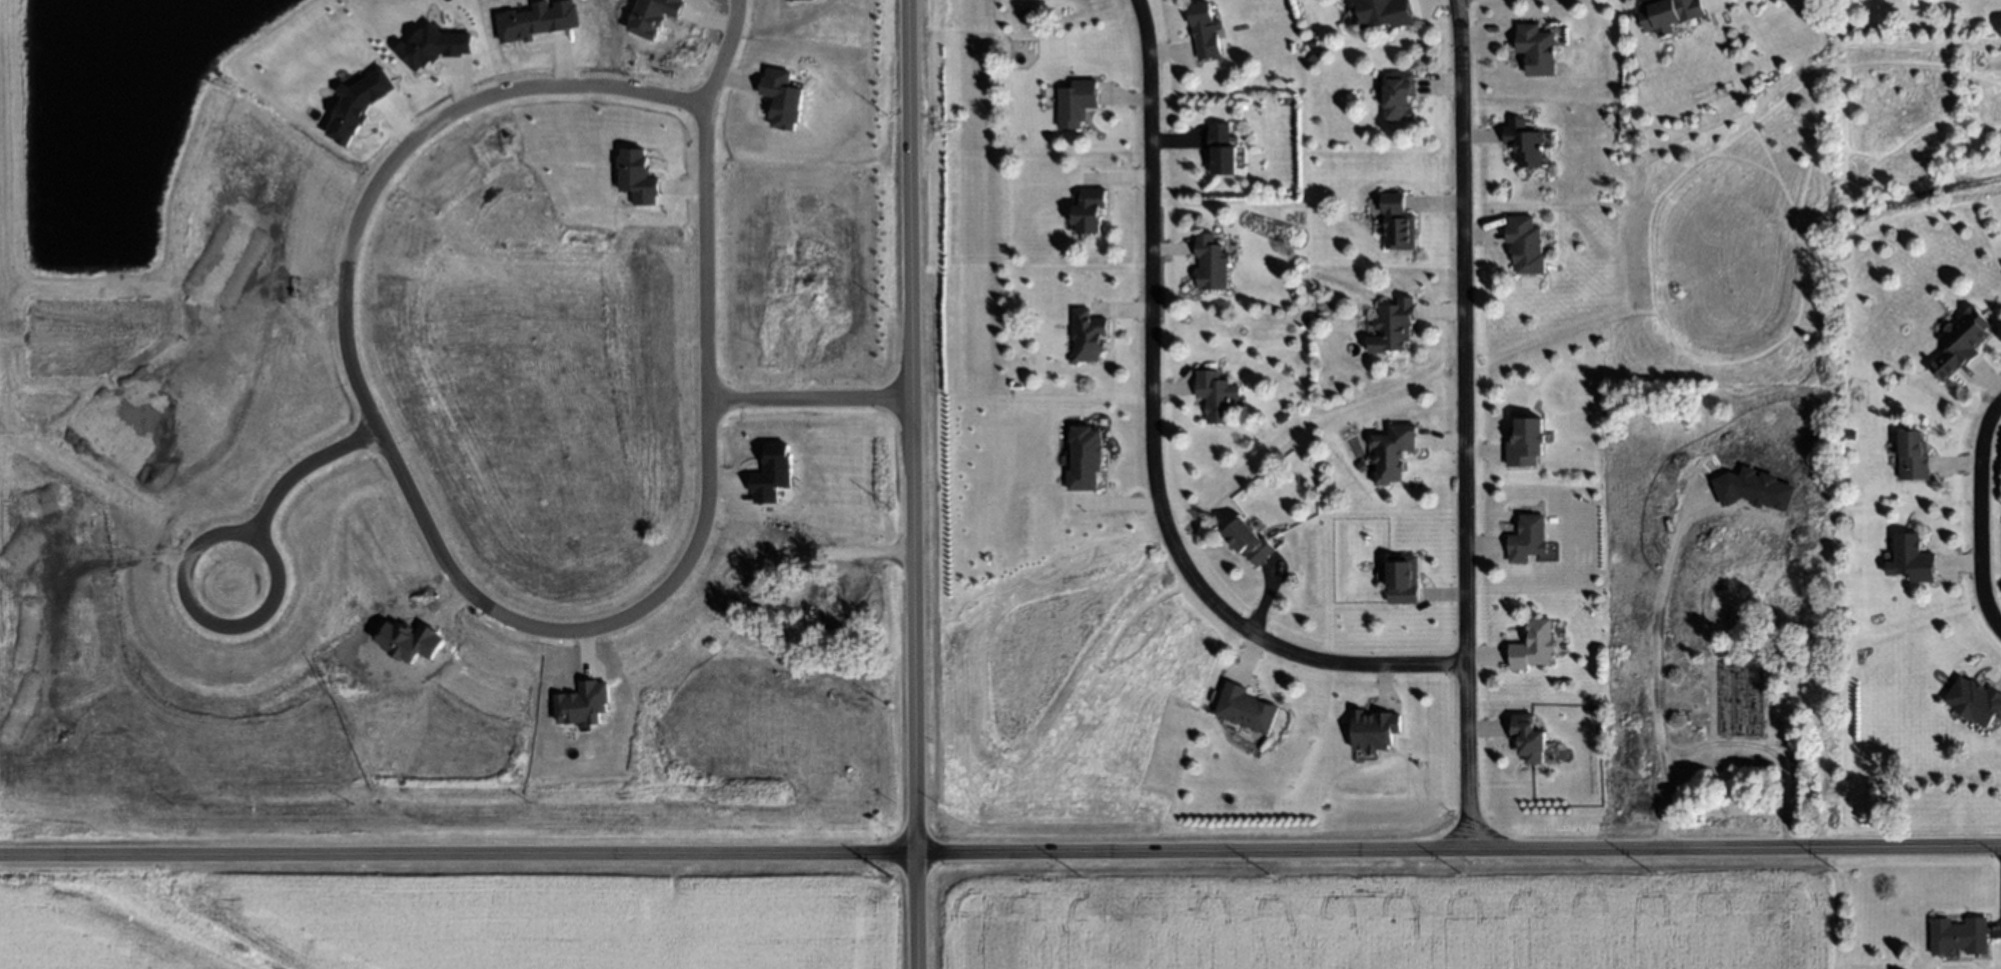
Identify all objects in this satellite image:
building: (805, 0)
building: (1383, 12)
building: (1669, 14)
building: (653, 16)
building: (538, 21)
building: (1204, 30)
building: (433, 47)
building: (1536, 48)
road: (724, 55)
building: (1400, 95)
building: (782, 99)
building: (1077, 102)
building: (357, 106)
park: (1914, 136)
building: (1524, 143)
building: (1221, 149)
building: (637, 177)
building: (1090, 210)
building: (1398, 223)
building: (1525, 244)
building: (1211, 263)
building: (1393, 326)
building: (1089, 335)
building: (1960, 343)
building: (1215, 395)
road: (811, 398)
road: (1468, 426)
building: (1526, 442)
road: (1143, 445)
building: (1395, 451)
building: (1913, 455)
building: (1084, 458)
building: (773, 474)
road: (280, 484)
road: (913, 484)
building: (1754, 490)
road: (1980, 518)
building: (1528, 539)
building: (1249, 541)
road: (436, 554)
building: (1911, 559)
building: (1403, 578)
building: (1534, 645)
road: (1655, 660)
building: (1974, 701)
building: (582, 704)
building: (1246, 708)
building: (1375, 729)
building: (1530, 738)
road: (1000, 853)
building: (1958, 935)

